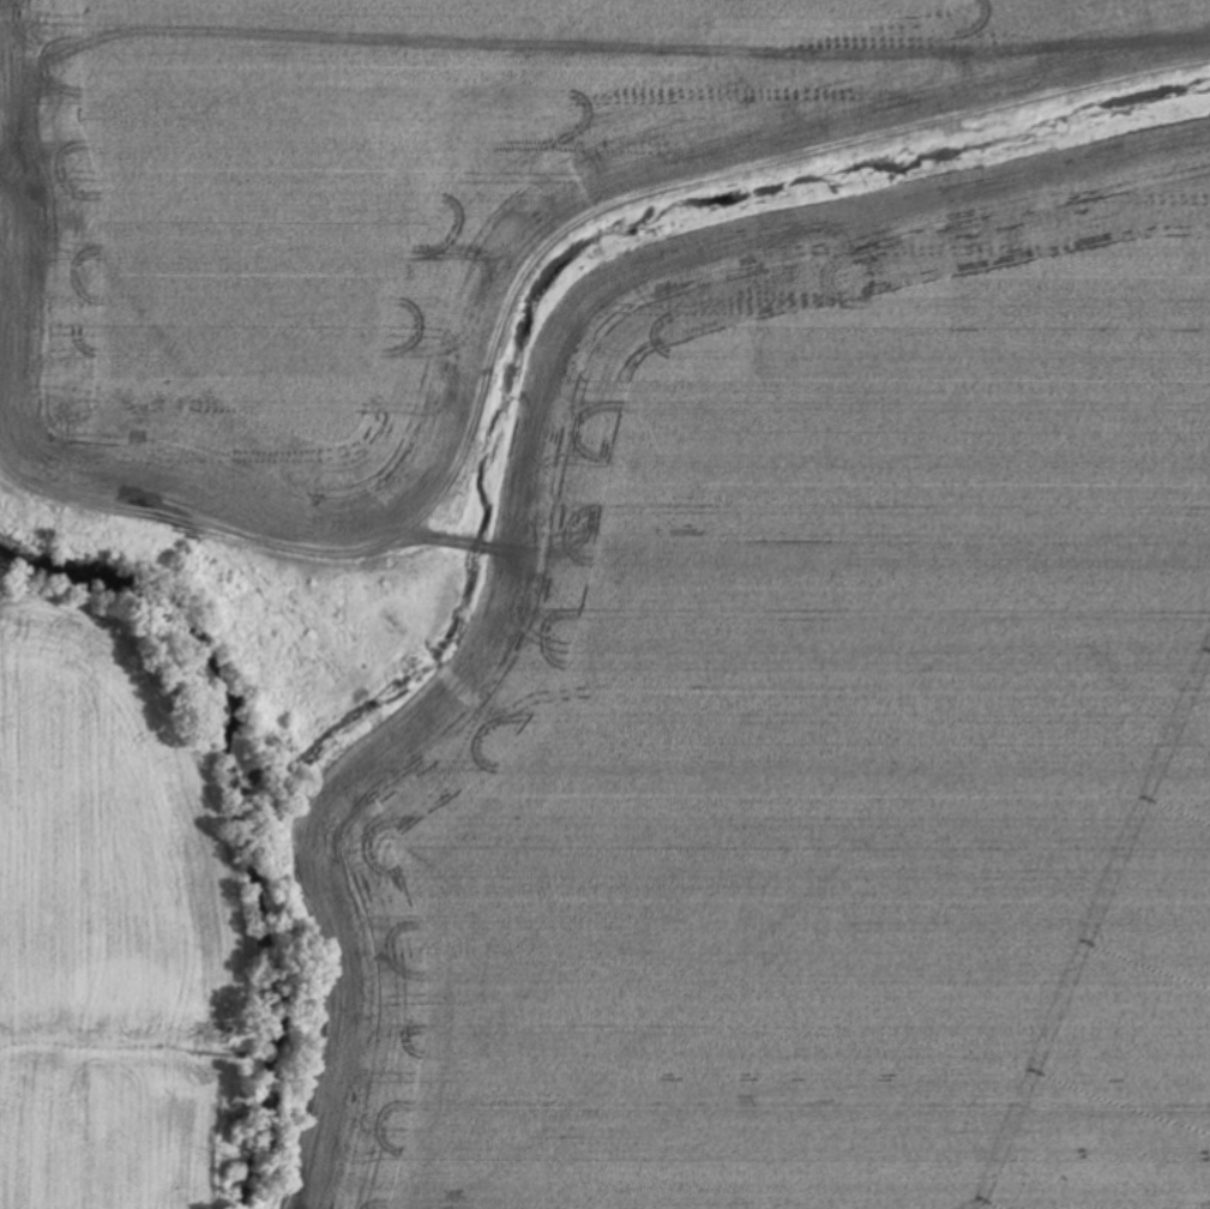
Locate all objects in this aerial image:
crop: (672, 561)
river: (179, 619)
river: (291, 918)
river: (291, 1129)

